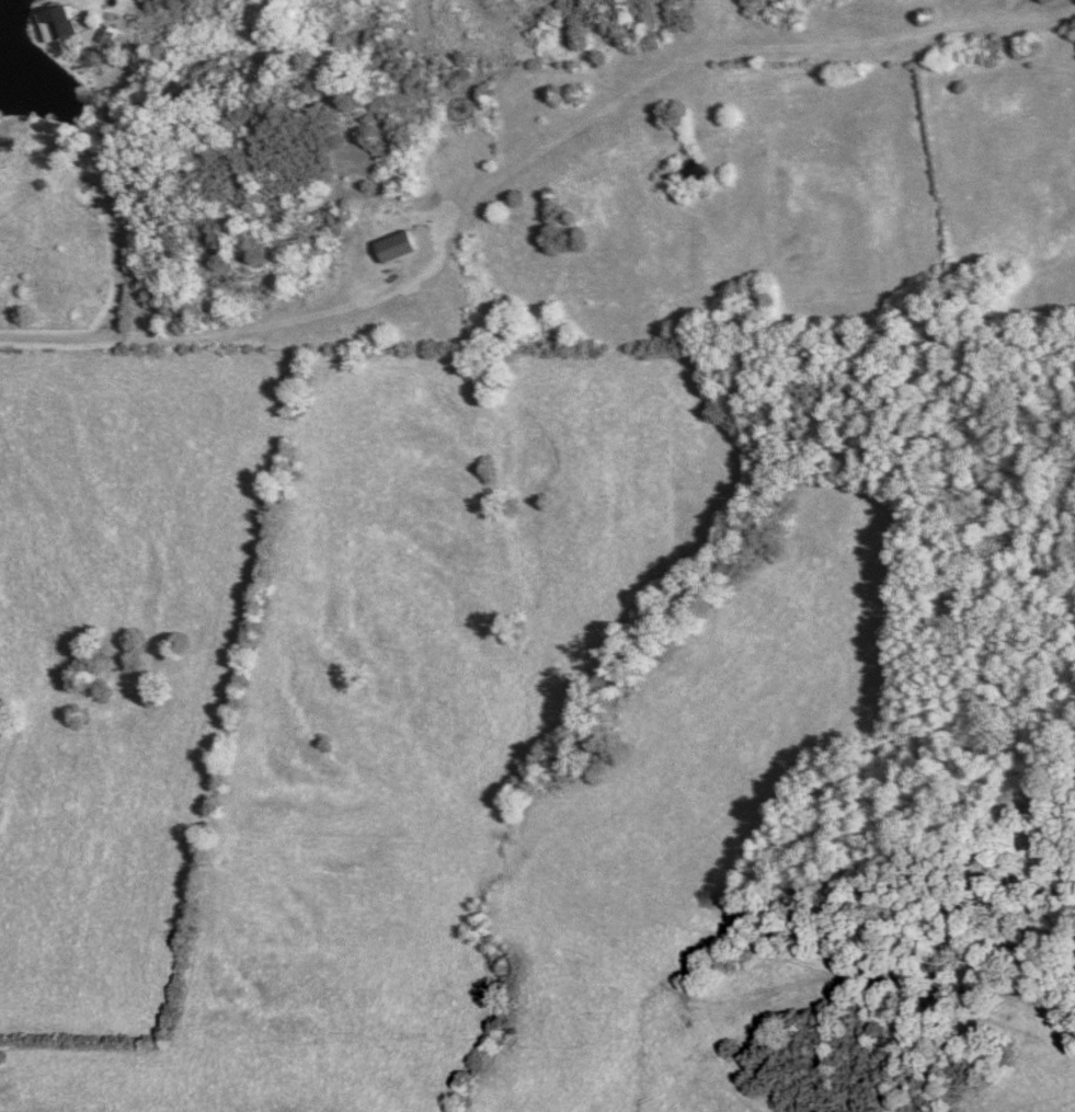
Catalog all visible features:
road: (104, 206)
building: (20, 285)
road: (220, 336)

